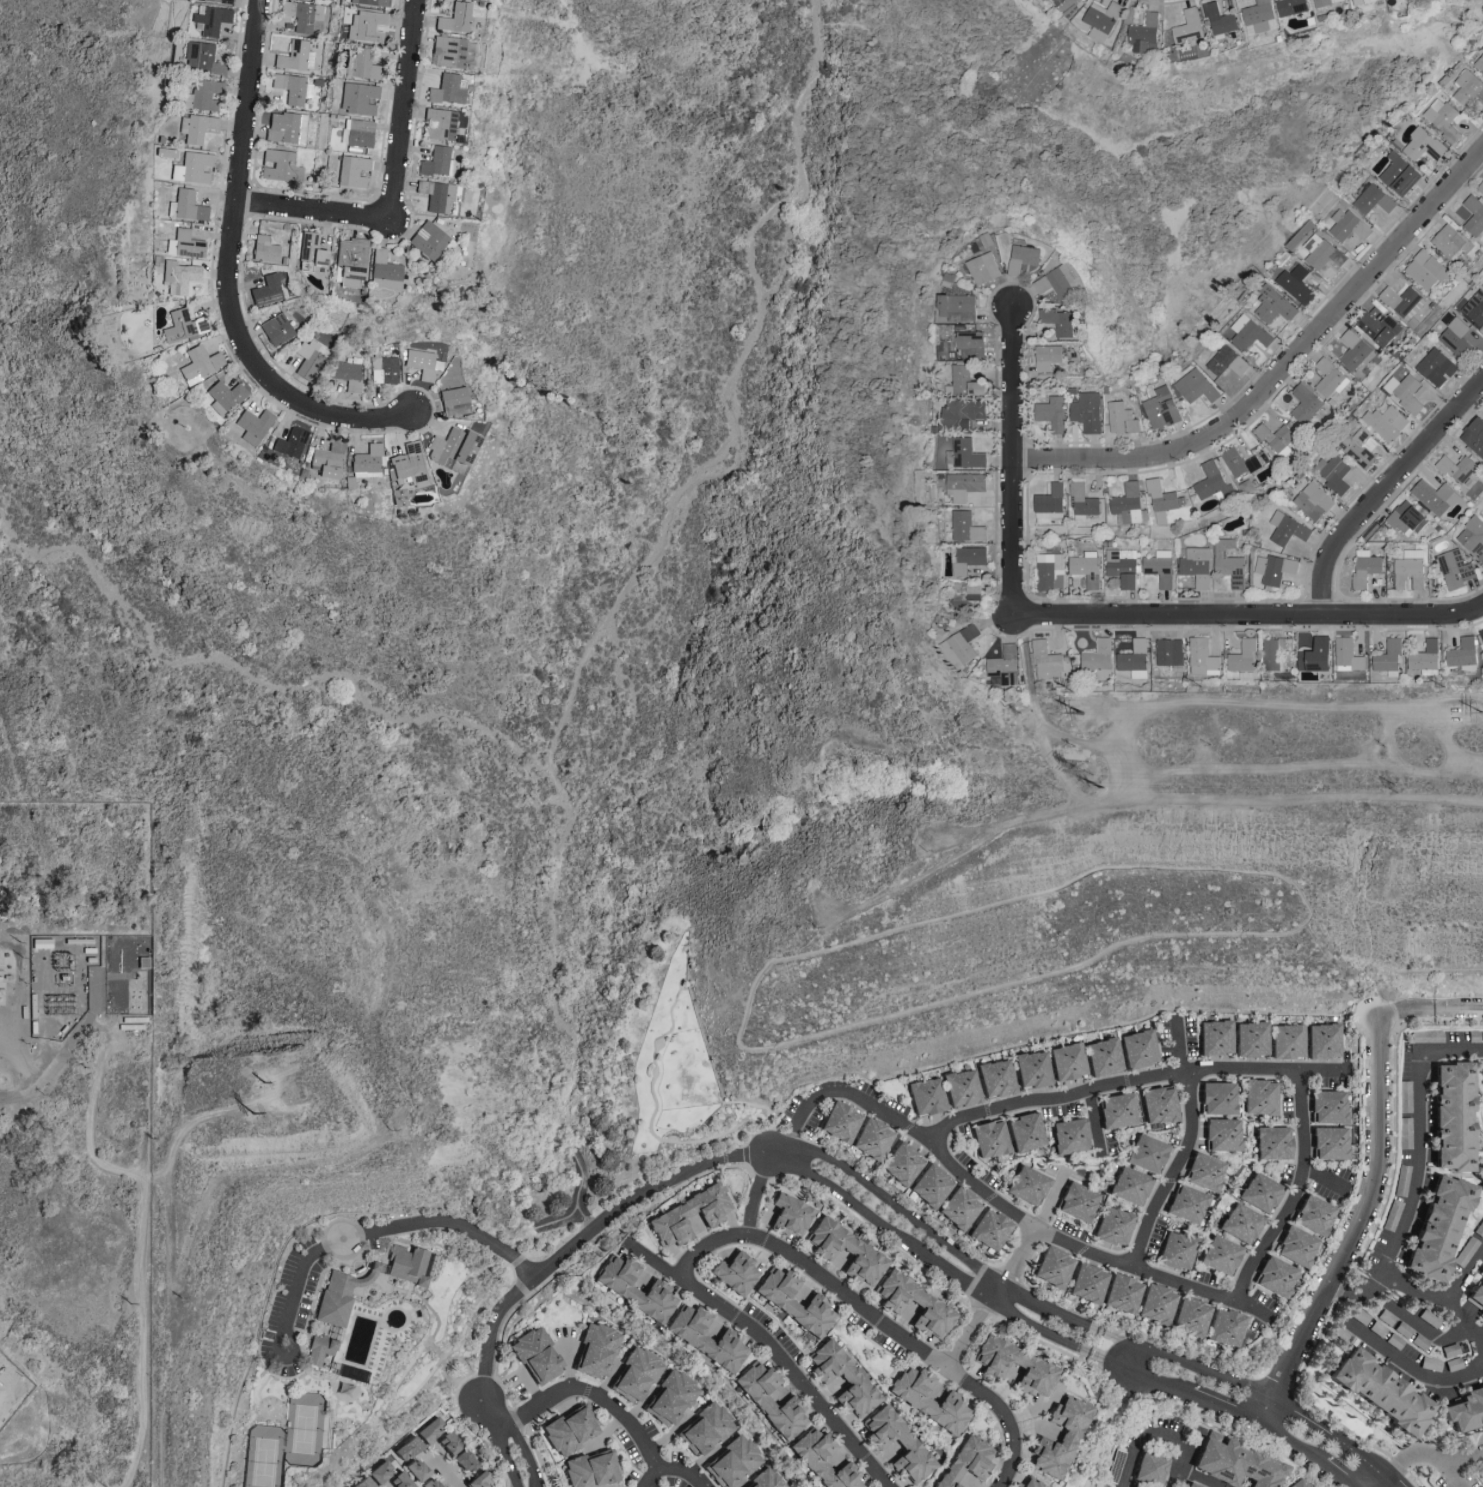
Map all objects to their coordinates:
building: (220, 1)
building: (371, 2)
building: (1325, 2)
building: (1361, 2)
building: (1066, 4)
building: (1291, 7)
building: (303, 14)
building: (454, 17)
building: (1259, 17)
building: (1098, 19)
building: (211, 20)
building: (1219, 21)
building: (365, 26)
building: (1188, 27)
building: (1145, 34)
building: (448, 51)
building: (296, 56)
building: (201, 58)
building: (1479, 64)
building: (364, 65)
building: (293, 87)
building: (447, 89)
building: (1468, 89)
building: (204, 94)
building: (358, 98)
road: (406, 110)
building: (1442, 119)
building: (440, 123)
building: (196, 127)
building: (286, 127)
building: (357, 132)
building: (1420, 146)
building: (437, 162)
building: (192, 166)
building: (281, 166)
building: (352, 171)
building: (1400, 175)
building: (1480, 187)
building: (440, 196)
building: (1374, 200)
building: (186, 205)
road: (316, 213)
building: (1474, 216)
building: (1348, 225)
building: (428, 240)
building: (1451, 241)
building: (184, 244)
building: (264, 249)
building: (310, 249)
building: (1325, 255)
building: (1022, 258)
building: (350, 261)
building: (984, 268)
building: (383, 270)
building: (1425, 270)
building: (180, 276)
road: (234, 277)
building: (1062, 280)
building: (1295, 282)
building: (1042, 285)
building: (266, 290)
building: (1406, 304)
building: (1274, 306)
building: (958, 308)
building: (1475, 308)
building: (1059, 322)
building: (1378, 324)
building: (182, 326)
building: (276, 329)
building: (1250, 332)
building: (1455, 339)
building: (973, 344)
building: (1355, 351)
building: (309, 358)
building: (1046, 359)
building: (1228, 362)
building: (422, 363)
building: (199, 364)
building: (1436, 367)
building: (385, 369)
road: (1281, 371)
building: (347, 374)
building: (1330, 378)
building: (967, 381)
building: (1196, 386)
building: (1405, 392)
building: (223, 396)
building: (453, 401)
building: (1305, 402)
building: (1161, 408)
building: (1086, 412)
building: (1051, 413)
building: (963, 414)
building: (1121, 419)
building: (1386, 422)
building: (253, 425)
building: (1474, 437)
building: (1276, 439)
building: (1361, 447)
building: (453, 449)
building: (287, 450)
building: (965, 454)
building: (327, 460)
building: (368, 461)
building: (1238, 462)
road: (1013, 463)
building: (411, 464)
building: (1457, 468)
building: (1334, 473)
building: (1213, 483)
building: (965, 486)
road: (1384, 492)
building: (1434, 497)
building: (1160, 500)
building: (1314, 501)
building: (1082, 502)
building: (1050, 503)
building: (1126, 504)
building: (1406, 519)
building: (1287, 529)
building: (1472, 538)
building: (969, 560)
building: (1229, 563)
building: (1122, 567)
building: (1196, 567)
building: (1364, 567)
building: (1086, 568)
building: (1160, 568)
building: (1274, 569)
building: (1455, 569)
building: (1409, 570)
building: (1050, 571)
building: (967, 596)
road: (1249, 618)
building: (1481, 633)
building: (962, 646)
building: (1169, 652)
building: (1463, 655)
building: (1315, 656)
building: (1347, 656)
building: (1201, 658)
building: (1097, 659)
building: (1133, 659)
building: (1388, 659)
building: (1424, 659)
building: (1242, 660)
building: (1045, 662)
building: (1004, 667)
road: (1288, 705)
power tower: (1083, 771)
road: (1282, 800)
road: (1028, 820)
road: (1456, 1006)
road: (1402, 1011)
building: (133, 1022)
road: (99, 1031)
building: (1429, 1036)
building: (1214, 1037)
building: (1251, 1039)
building: (1287, 1040)
building: (1323, 1040)
building: (1138, 1047)
building: (1103, 1056)
building: (1067, 1060)
road: (50, 1066)
building: (1032, 1068)
building: (995, 1077)
road: (1133, 1083)
building: (961, 1086)
building: (925, 1095)
building: (1261, 1096)
building: (1406, 1096)
building: (1220, 1098)
building: (1158, 1104)
building: (1331, 1106)
building: (1116, 1109)
building: (1454, 1115)
building: (838, 1120)
road: (88, 1130)
building: (1024, 1130)
building: (1406, 1132)
building: (1068, 1134)
building: (1224, 1134)
building: (870, 1137)
building: (989, 1137)
building: (1275, 1141)
building: (1332, 1143)
road: (1424, 1143)
building: (1146, 1152)
building: (900, 1163)
building: (1206, 1172)
building: (1480, 1174)
road: (1175, 1175)
building: (1403, 1180)
building: (1027, 1184)
building: (930, 1185)
building: (1129, 1185)
building: (1481, 1186)
building: (1261, 1192)
road: (756, 1194)
road: (1295, 1195)
building: (1076, 1201)
road: (1000, 1204)
building: (1187, 1205)
building: (958, 1207)
building: (687, 1214)
building: (786, 1214)
building: (1315, 1214)
road: (1364, 1214)
building: (1394, 1215)
road: (433, 1221)
building: (1244, 1223)
building: (1112, 1226)
building: (1436, 1226)
building: (989, 1228)
building: (1480, 1230)
road: (591, 1236)
road: (939, 1236)
building: (1297, 1245)
building: (845, 1251)
building: (1177, 1251)
building: (1467, 1252)
building: (1222, 1256)
road: (932, 1258)
building: (405, 1264)
road: (1015, 1265)
building: (1052, 1266)
building: (734, 1272)
building: (1277, 1276)
road: (1465, 1281)
road: (298, 1283)
building: (1090, 1283)
road: (173, 1285)
building: (632, 1287)
fountain: (372, 1292)
building: (340, 1293)
building: (1123, 1293)
road: (1355, 1296)
road: (421, 1297)
building: (1474, 1298)
building: (777, 1299)
road: (1439, 1300)
building: (1158, 1302)
building: (913, 1304)
road: (143, 1314)
building: (1362, 1316)
building: (1191, 1317)
building: (1430, 1317)
building: (1388, 1318)
road: (875, 1320)
building: (1227, 1326)
building: (1379, 1328)
building: (1404, 1328)
building: (1342, 1332)
road: (964, 1333)
building: (704, 1338)
building: (1395, 1340)
building: (1420, 1341)
building: (319, 1348)
building: (594, 1349)
building: (1450, 1349)
building: (535, 1355)
road: (774, 1355)
road: (1132, 1355)
road: (287, 1358)
road: (450, 1359)
road: (1190, 1362)
building: (1030, 1363)
building: (1430, 1363)
building: (1453, 1363)
road: (1419, 1370)
building: (351, 1373)
building: (633, 1374)
building: (841, 1378)
road: (1179, 1388)
road: (593, 1393)
building: (1385, 1393)
building: (669, 1397)
road: (0, 1398)
building: (928, 1399)
building: (769, 1400)
building: (1464, 1408)
road: (1269, 1409)
road: (493, 1411)
road: (385, 1413)
park: (304, 1427)
building: (568, 1429)
building: (425, 1433)
building: (1059, 1436)
road: (1336, 1437)
road: (1293, 1439)
road: (1178, 1441)
building: (447, 1442)
building: (896, 1444)
building: (725, 1451)
building: (810, 1452)
road: (525, 1453)
road: (1431, 1453)
park: (264, 1456)
road: (507, 1457)
building: (461, 1459)
building: (965, 1461)
building: (1235, 1462)
road: (1127, 1464)
building: (591, 1468)
building: (1149, 1468)
building: (414, 1469)
road: (444, 1469)
building: (378, 1470)
road: (670, 1470)
road: (1337, 1472)
road: (1451, 1472)
road: (1199, 1478)
building: (398, 1480)
building: (476, 1480)
building: (362, 1482)
building: (427, 1483)
building: (1028, 1483)
building: (1300, 1483)
road: (1392, 1484)
road: (1396, 1484)
building: (1191, 1485)

